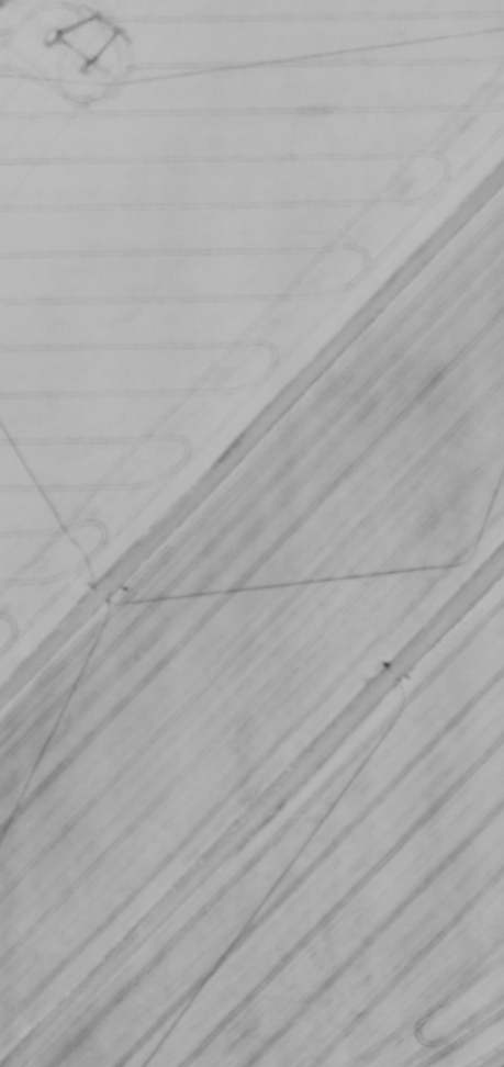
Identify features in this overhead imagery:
power tower: (75, 54)

